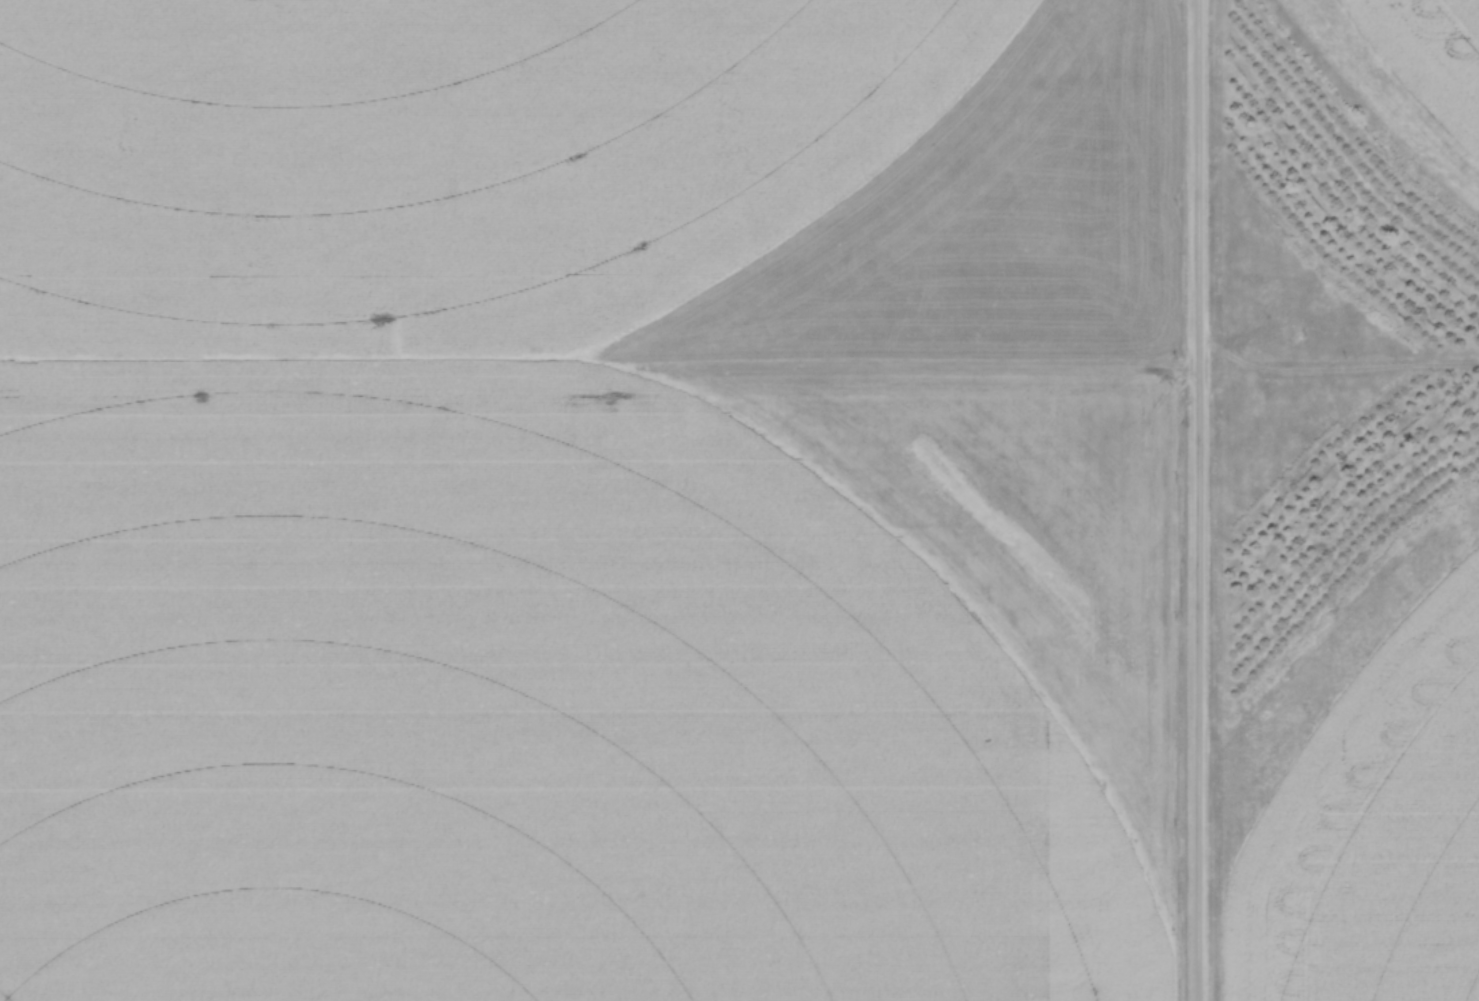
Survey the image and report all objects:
road: (1196, 500)

